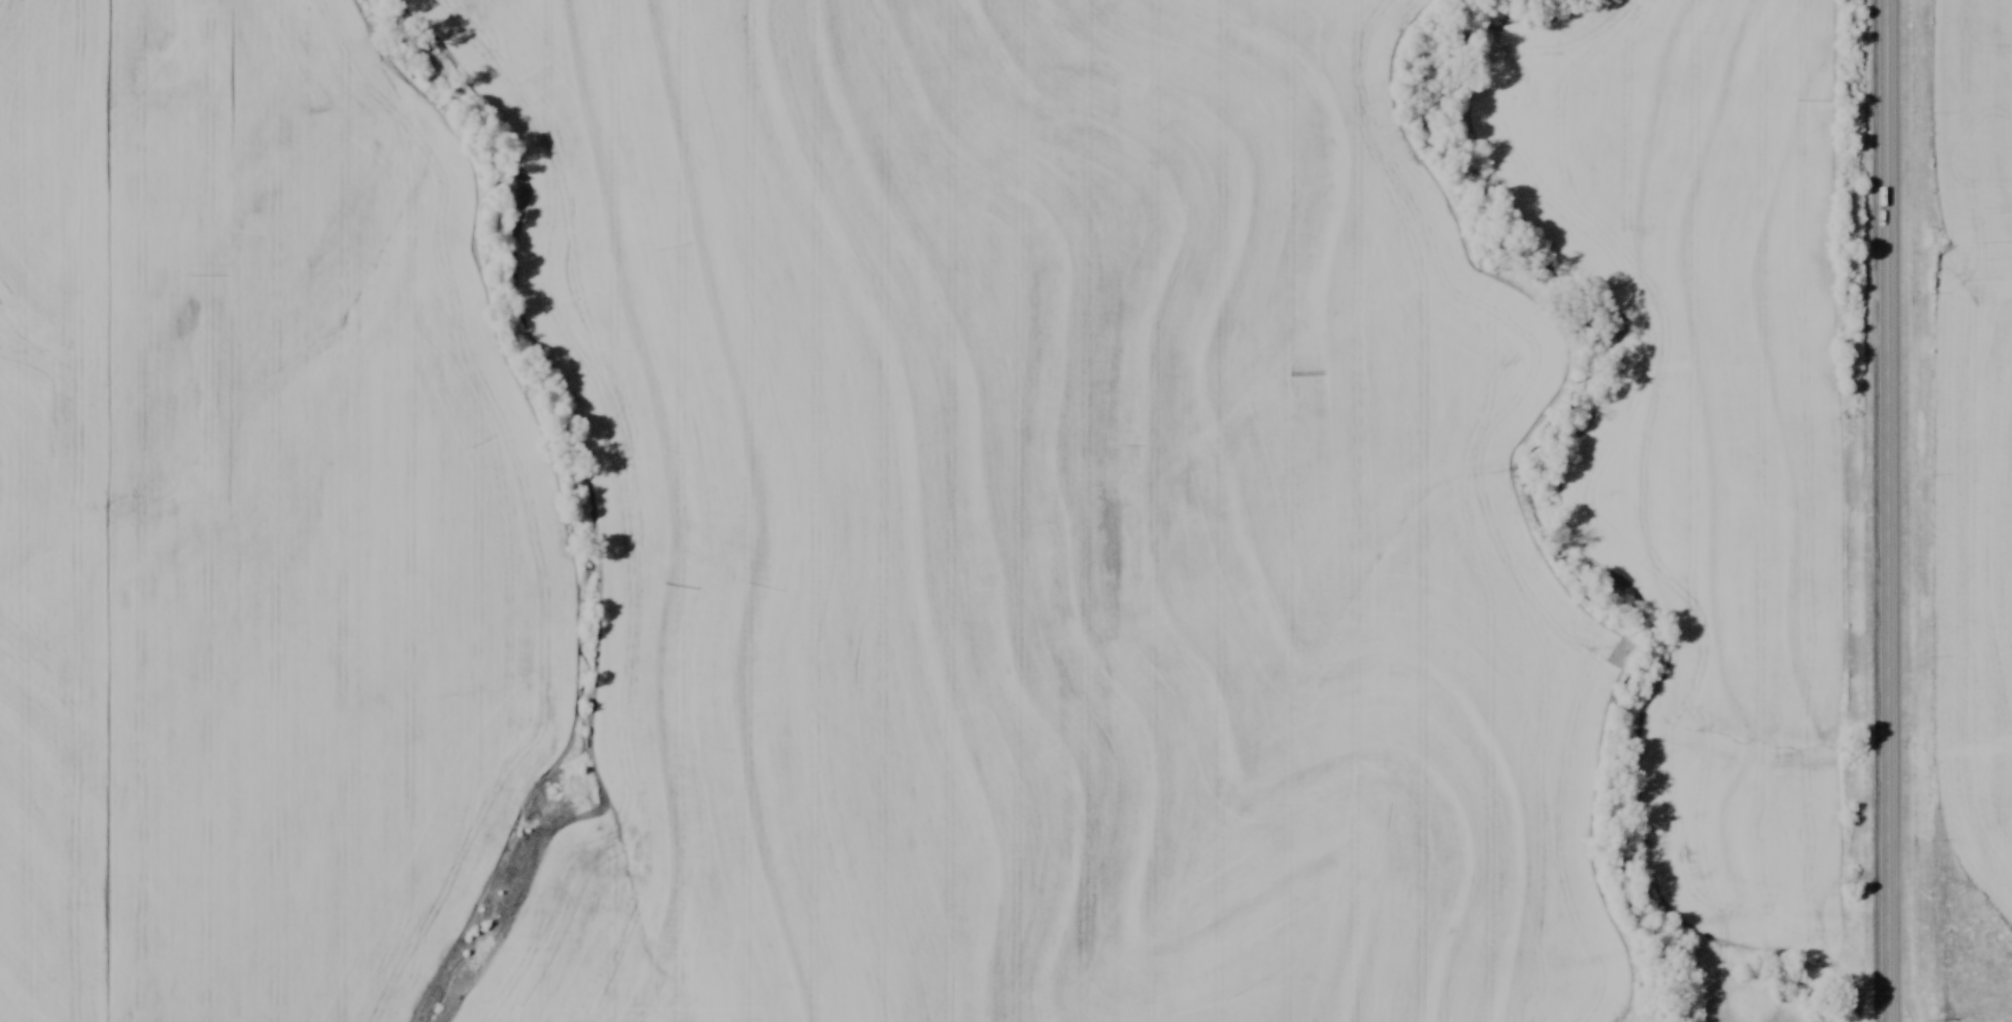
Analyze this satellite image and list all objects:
road: (1888, 510)

